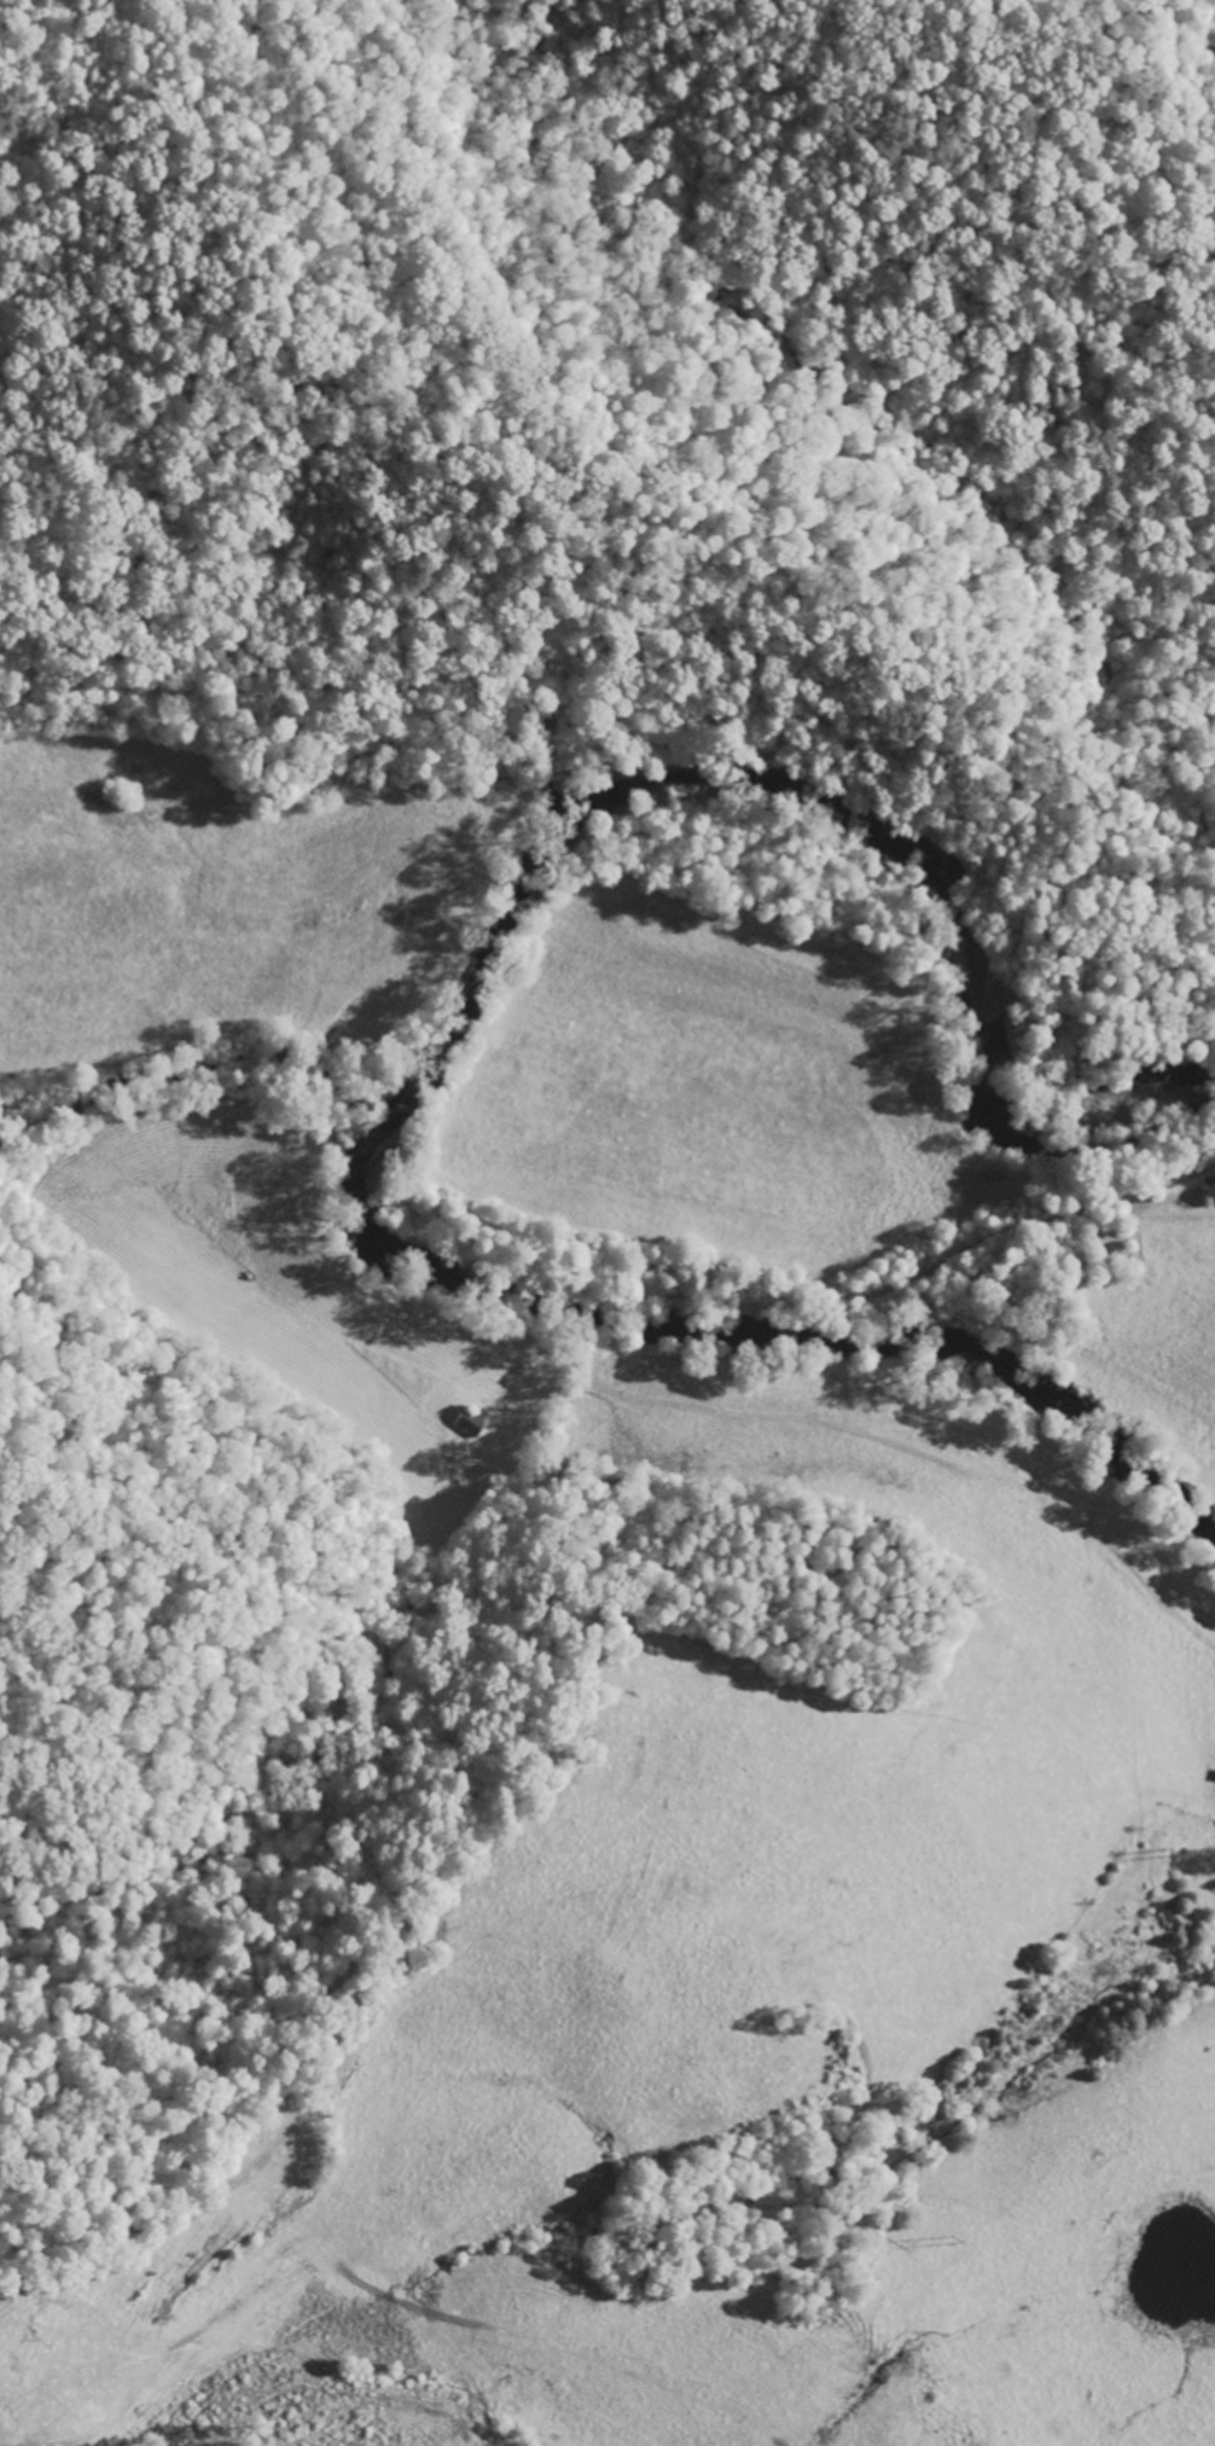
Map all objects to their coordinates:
road: (1175, 1259)
power tower: (958, 2241)

